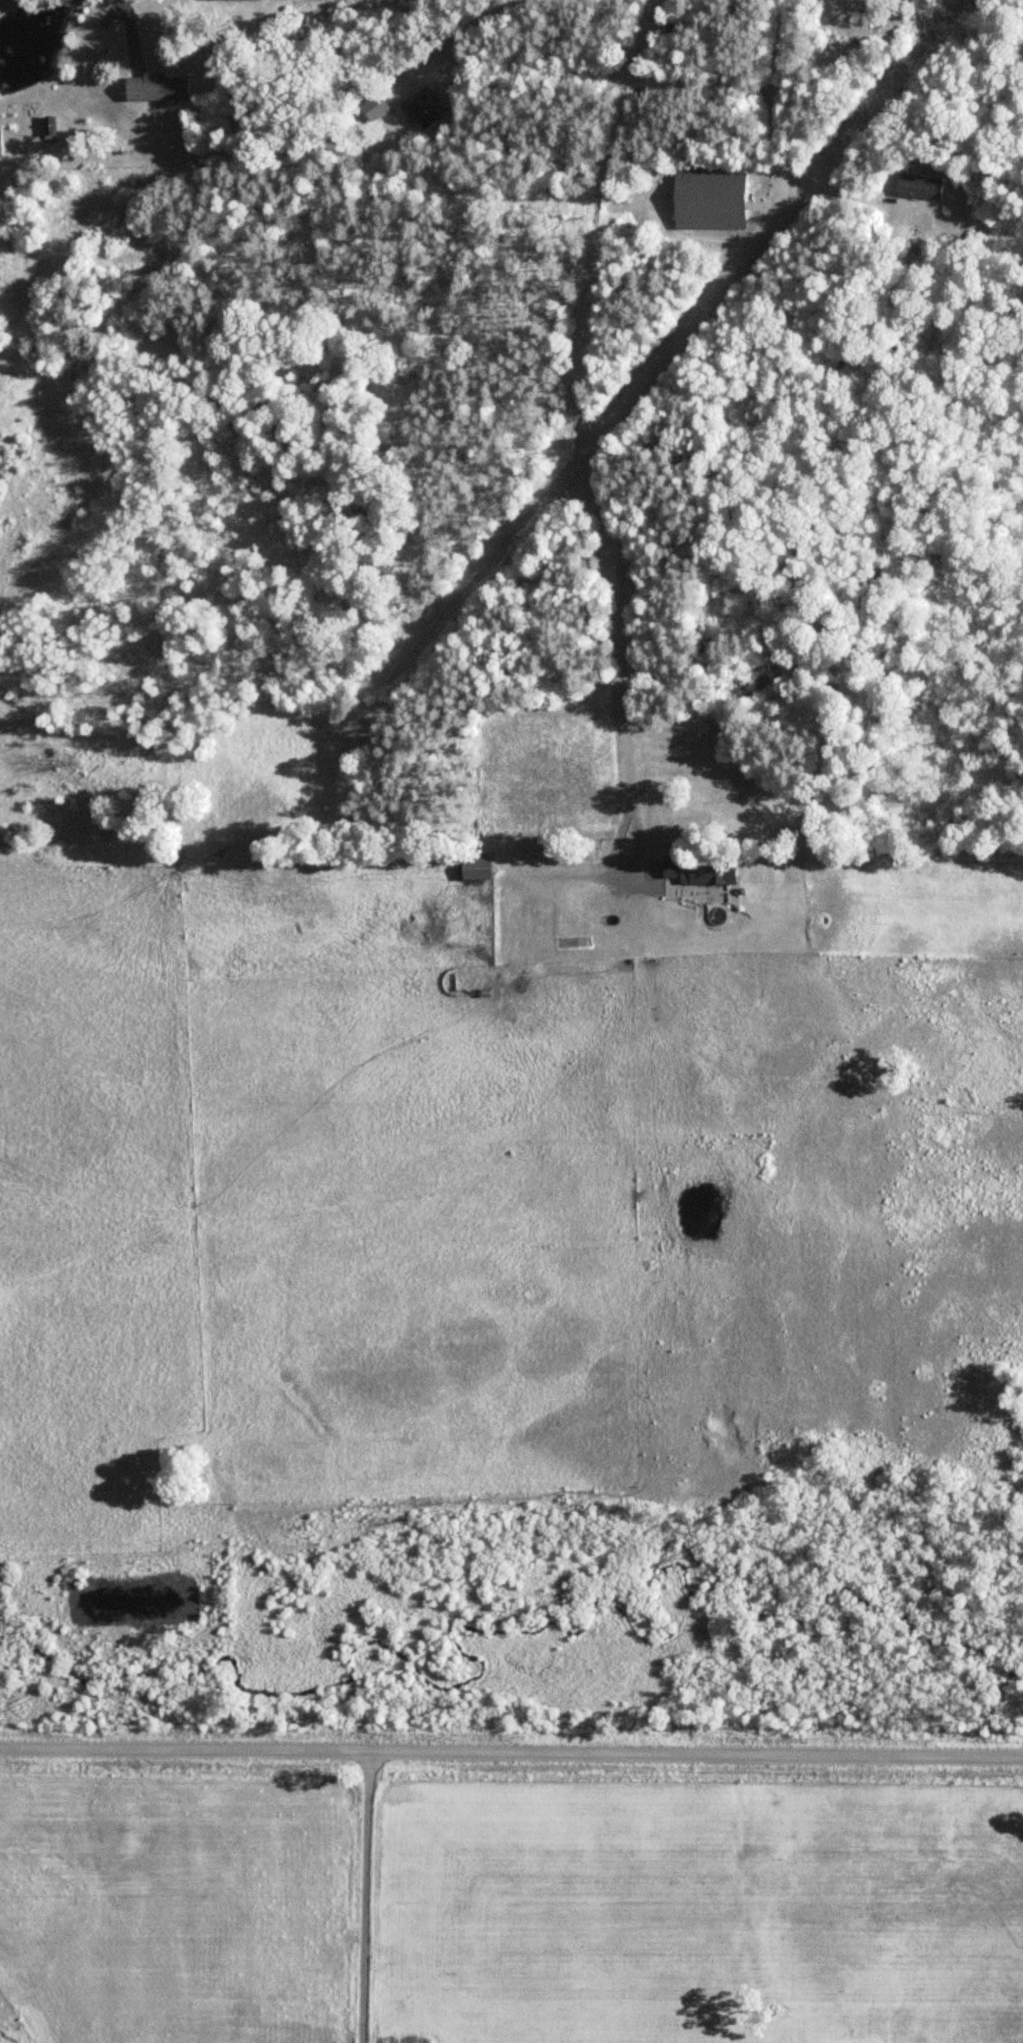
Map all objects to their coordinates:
building: (826, 39)
building: (657, 83)
building: (160, 91)
road: (778, 108)
building: (428, 118)
building: (46, 131)
building: (916, 186)
building: (708, 197)
building: (472, 868)
building: (697, 870)
road: (511, 1747)

